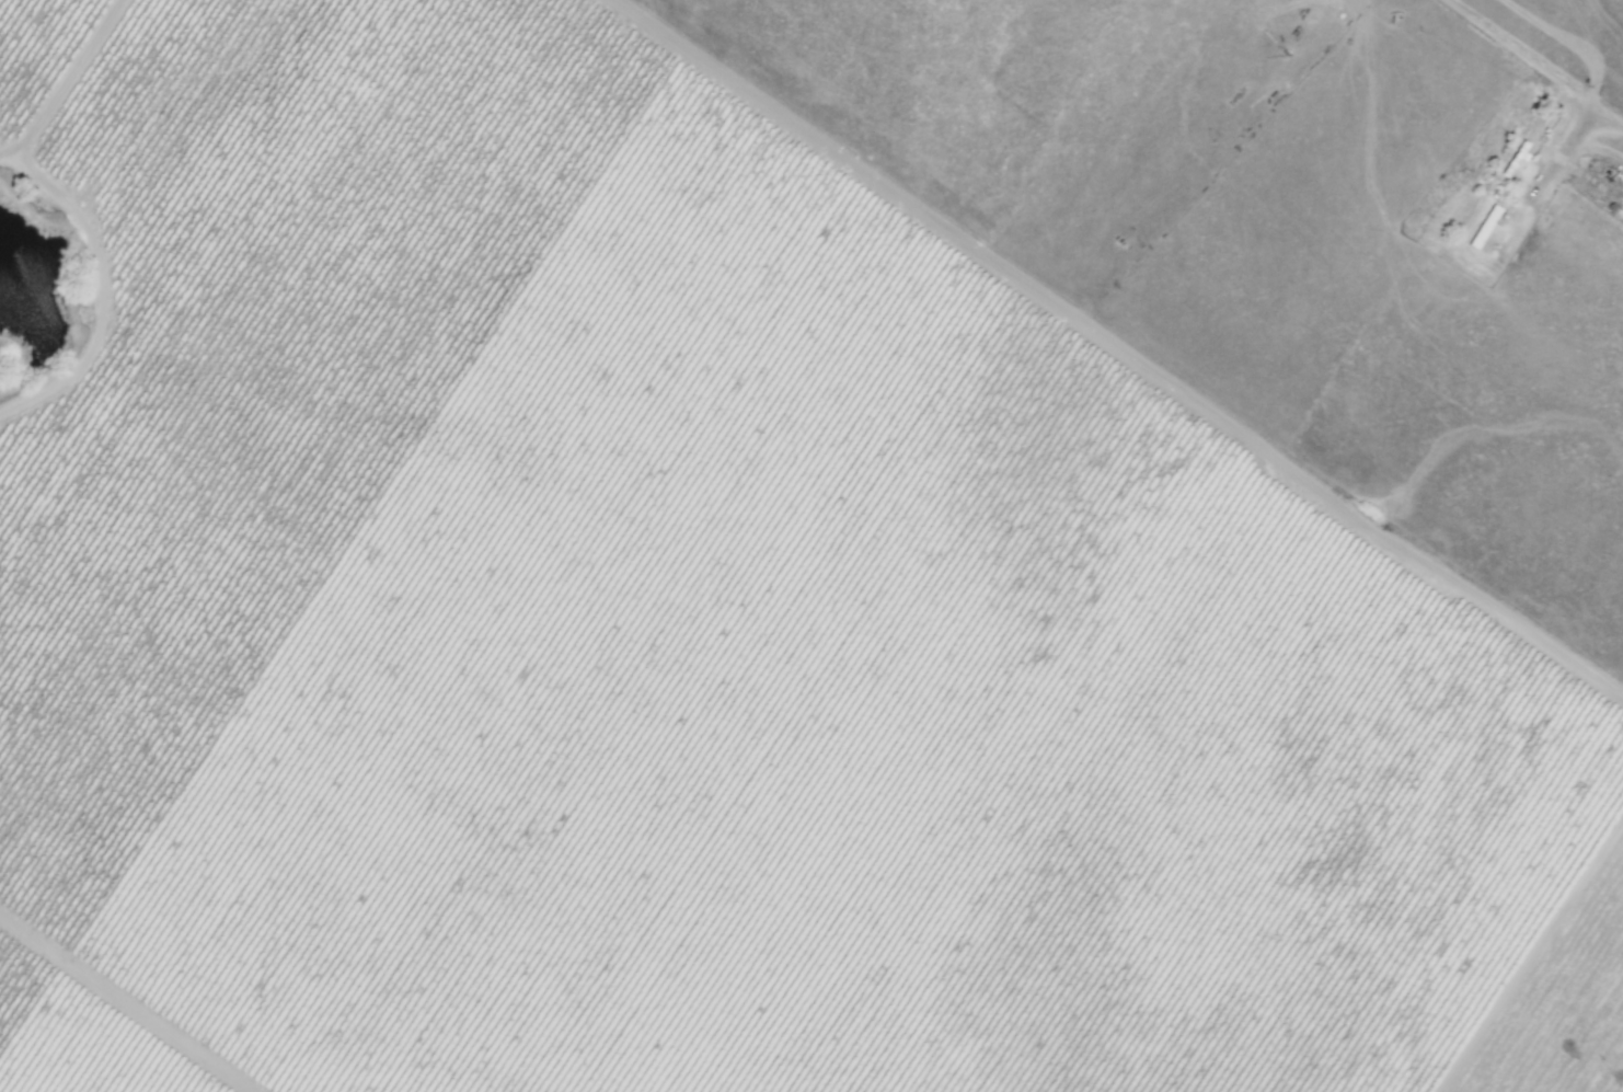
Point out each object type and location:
road: (1573, 139)

